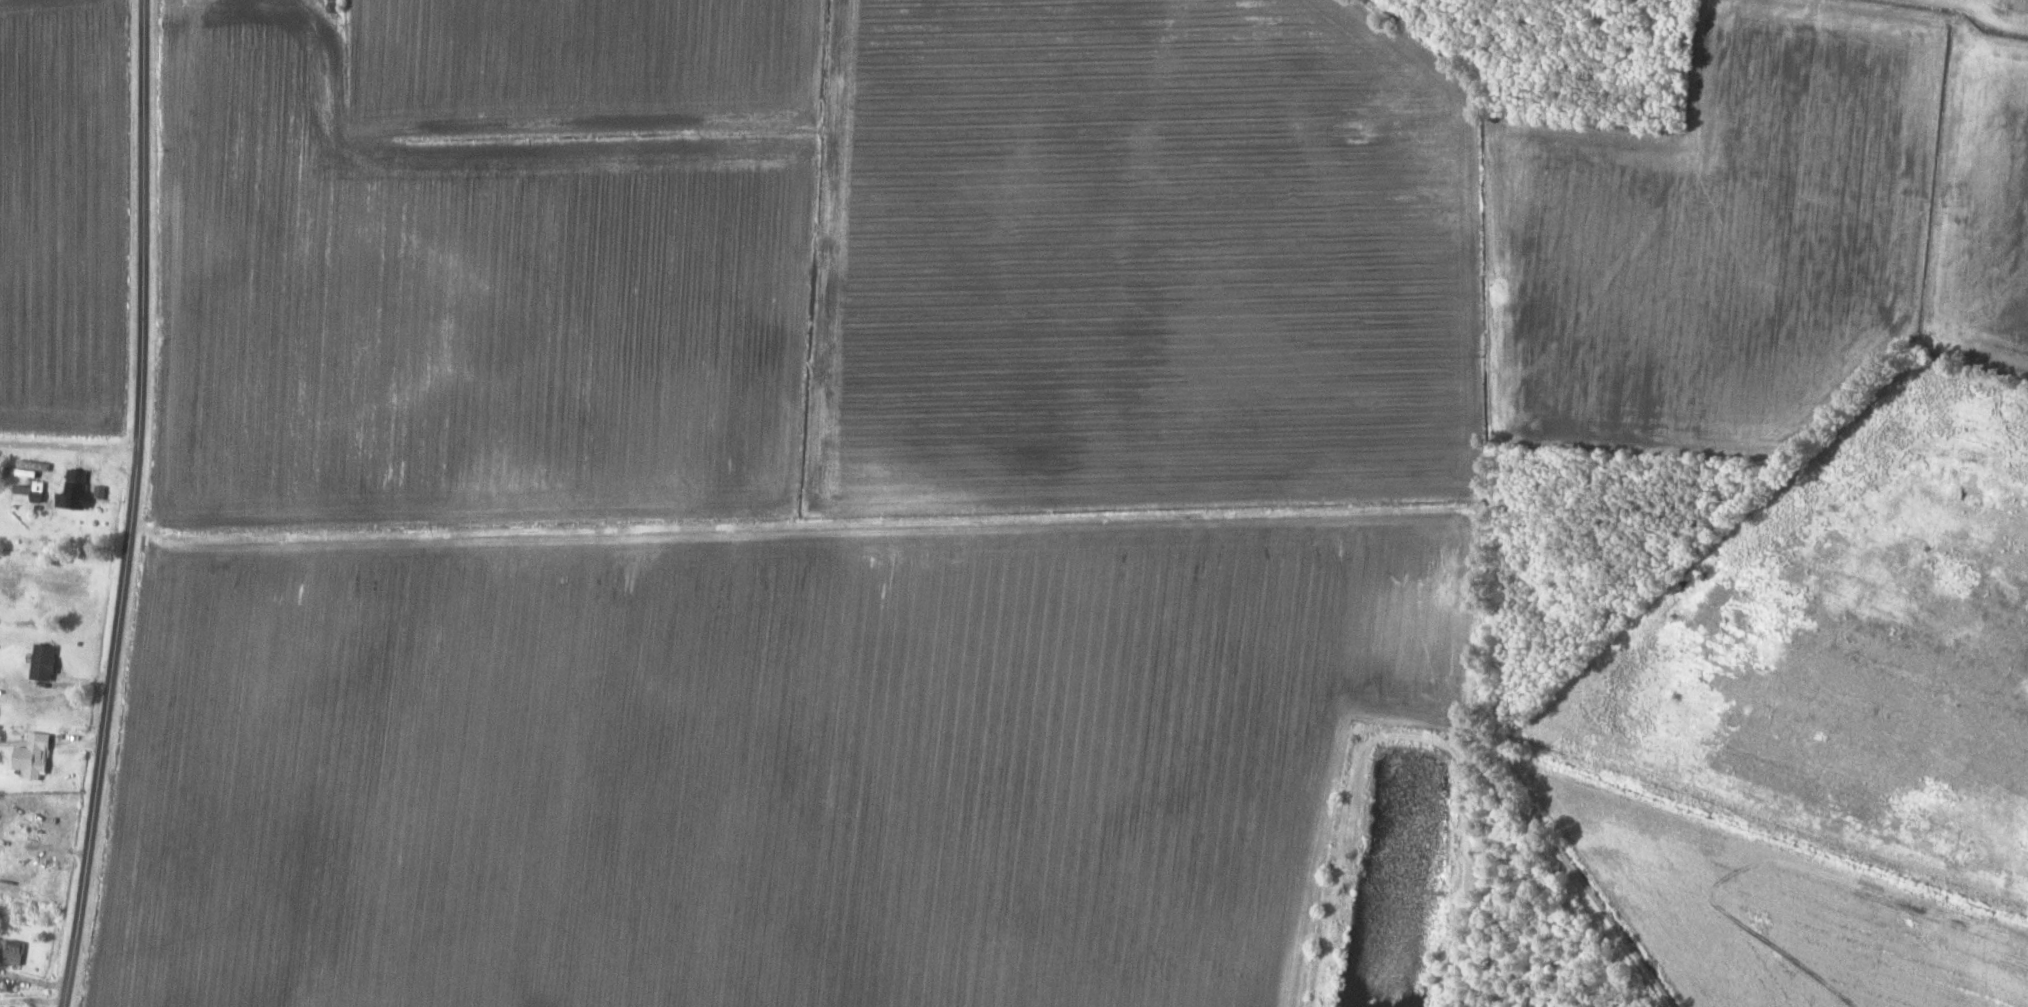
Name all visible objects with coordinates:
building: (38, 490)
building: (75, 496)
road: (132, 505)
building: (44, 663)
building: (33, 756)
building: (26, 876)
building: (12, 952)

